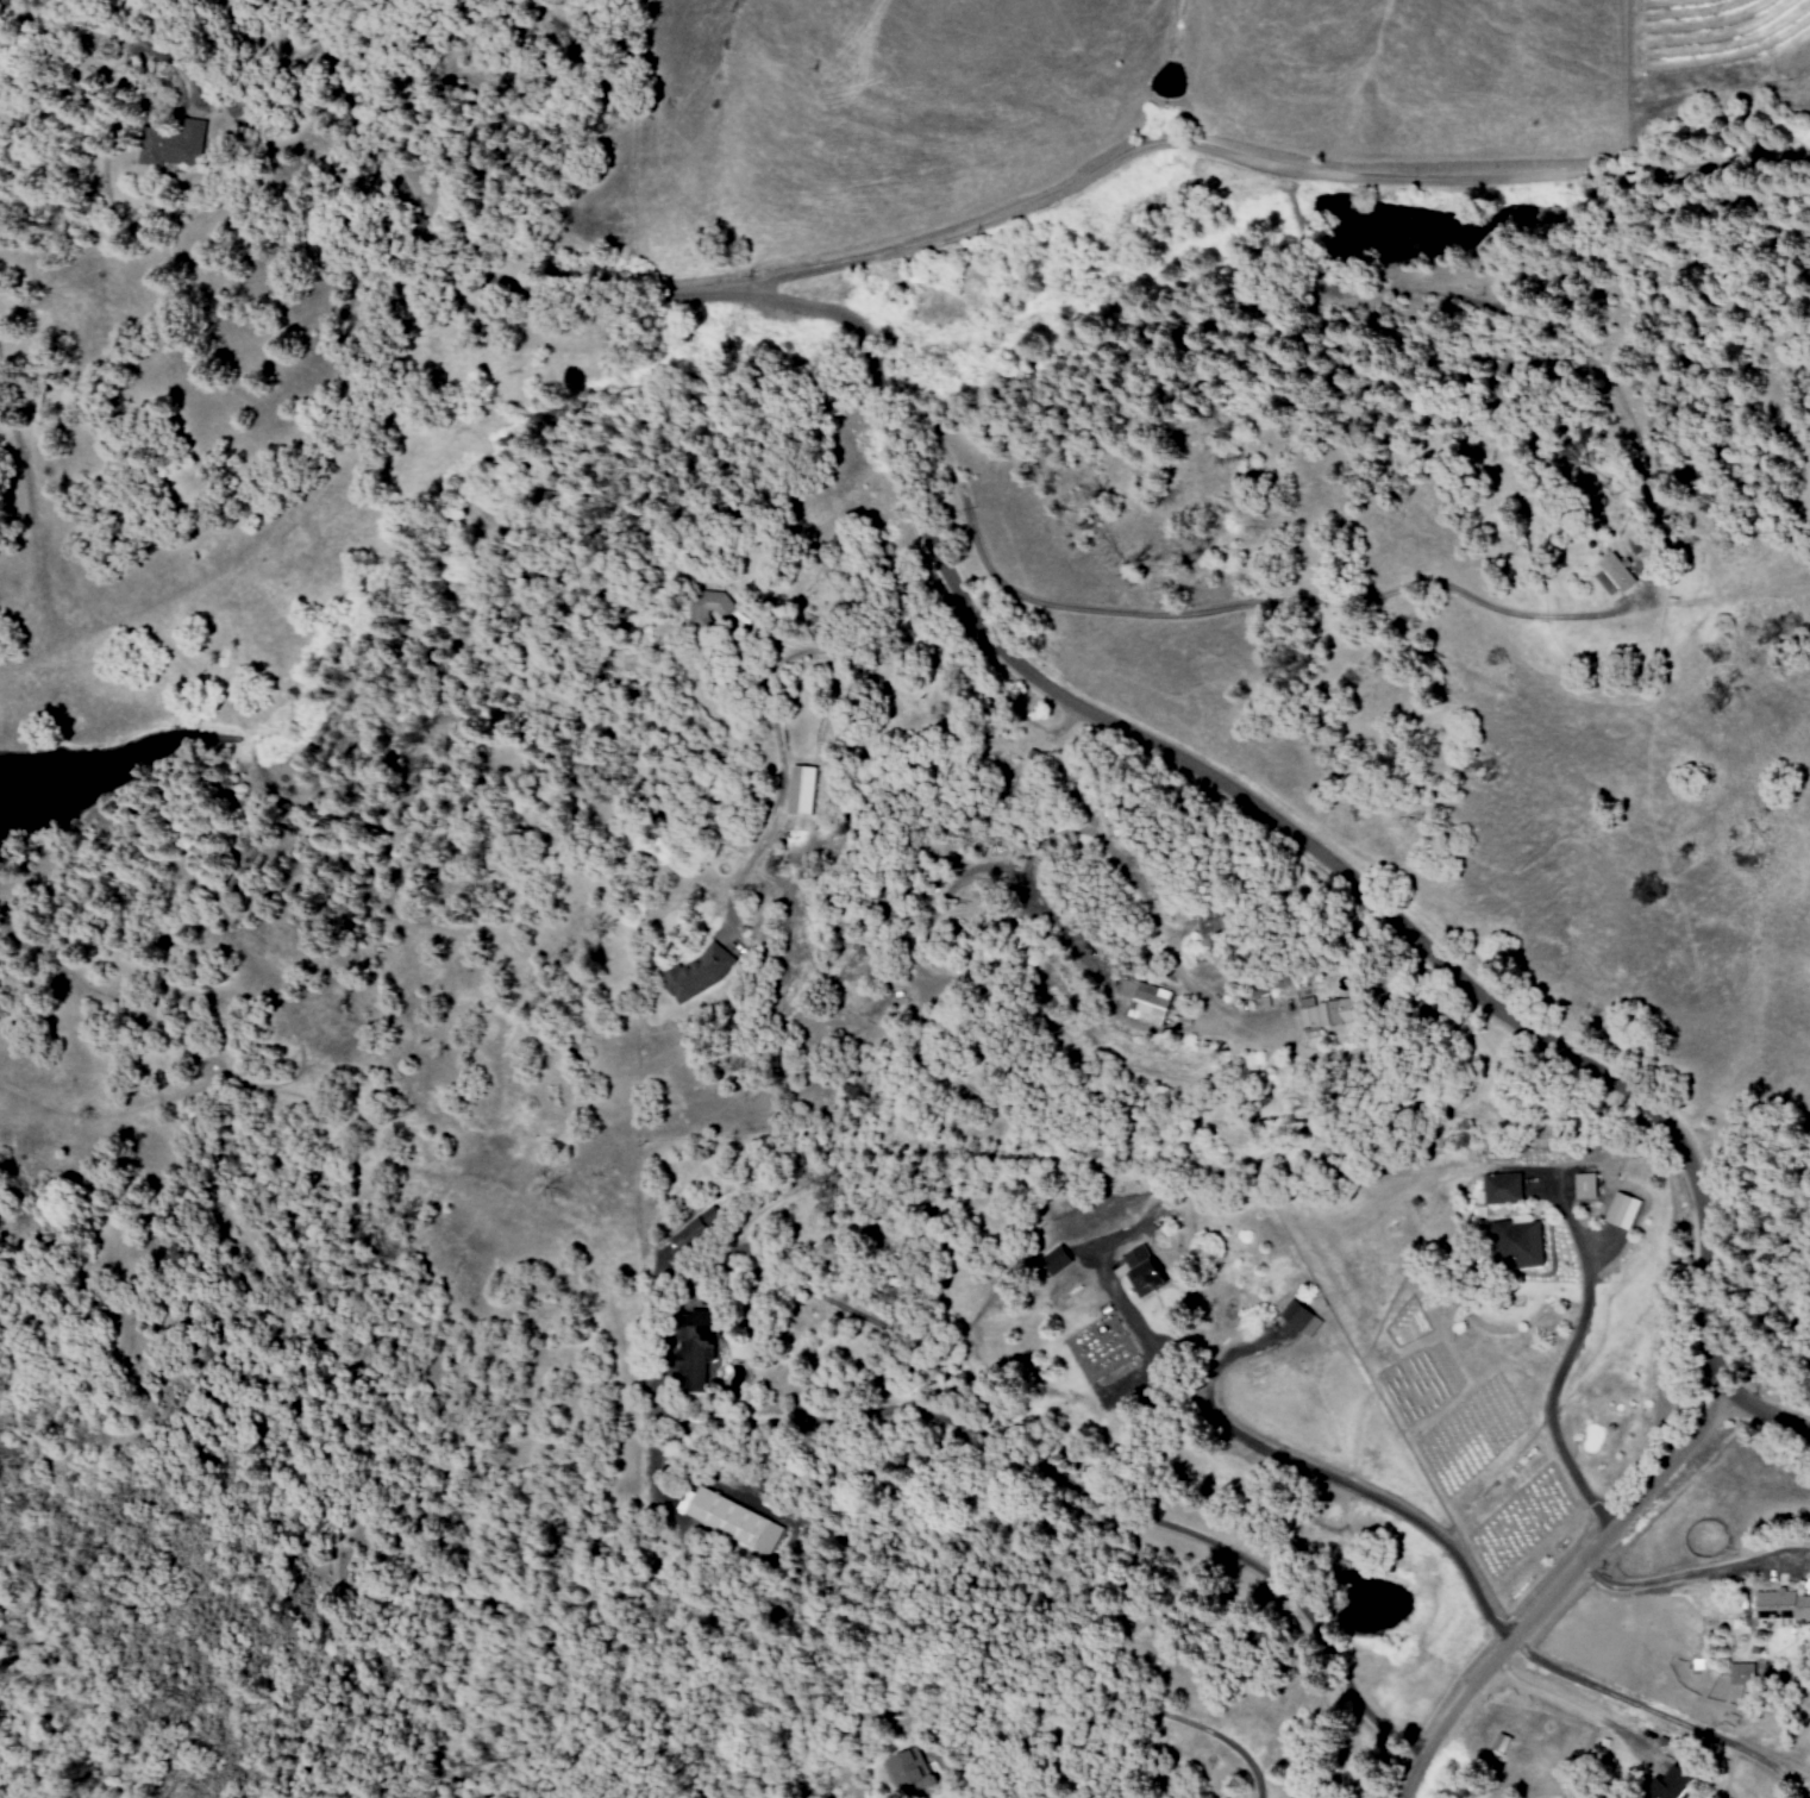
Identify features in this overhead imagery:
crop: (1711, 20)
building: (171, 146)
road: (1270, 162)
building: (1615, 574)
building: (700, 606)
road: (1042, 688)
building: (795, 789)
building: (1211, 929)
building: (690, 975)
building: (1142, 1001)
building: (1327, 1013)
road: (187, 1092)
building: (1583, 1185)
building: (1501, 1189)
building: (1620, 1211)
building: (710, 1216)
building: (687, 1234)
building: (1514, 1245)
building: (1051, 1263)
building: (1139, 1272)
building: (1298, 1318)
building: (693, 1349)
road: (1548, 1386)
road: (1290, 1467)
road: (1092, 1501)
building: (729, 1520)
road: (1672, 1579)
road: (1559, 1590)
building: (1780, 1606)
building: (1740, 1673)
road: (1654, 1716)
building: (1499, 1742)
building: (898, 1768)
building: (1667, 1785)

